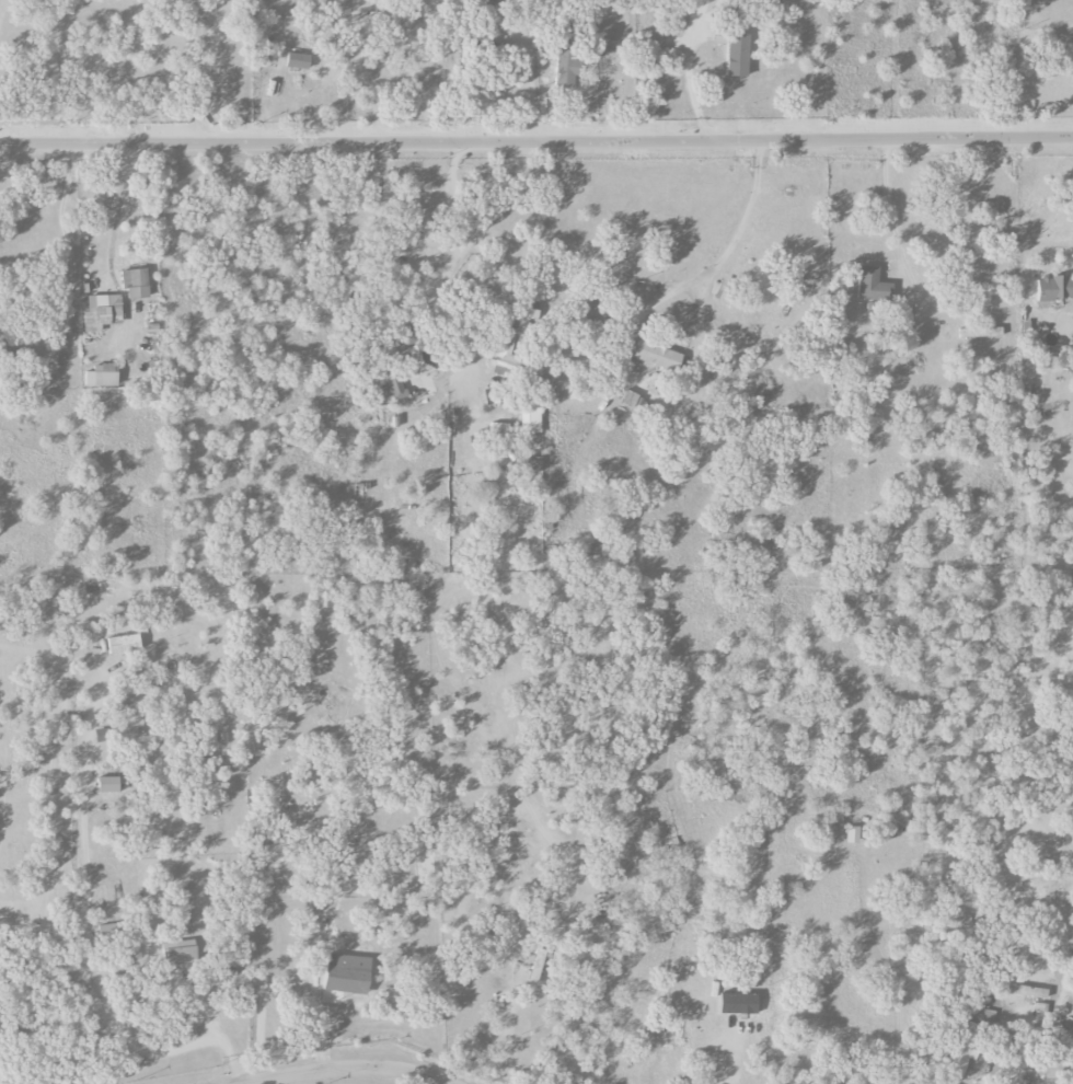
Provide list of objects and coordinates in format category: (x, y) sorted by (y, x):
road: (1, 7)
building: (390, 20)
road: (1046, 22)
road: (524, 25)
building: (738, 56)
building: (298, 61)
building: (567, 68)
road: (887, 68)
road: (200, 71)
road: (689, 71)
road: (368, 82)
road: (529, 96)
road: (536, 141)
road: (118, 201)
road: (457, 211)
road: (64, 221)
road: (891, 221)
road: (728, 244)
building: (135, 284)
building: (763, 284)
building: (870, 285)
building: (1054, 287)
building: (726, 291)
building: (102, 312)
building: (980, 332)
building: (508, 341)
building: (414, 347)
building: (657, 356)
building: (102, 376)
building: (394, 385)
building: (535, 464)
building: (124, 644)
building: (122, 729)
building: (108, 785)
building: (852, 834)
road: (92, 926)
building: (178, 953)
building: (536, 966)
building: (347, 979)
building: (1026, 991)
building: (738, 1003)
road: (195, 1010)
building: (968, 1039)
road: (728, 1050)
road: (348, 1068)
road: (401, 1076)

